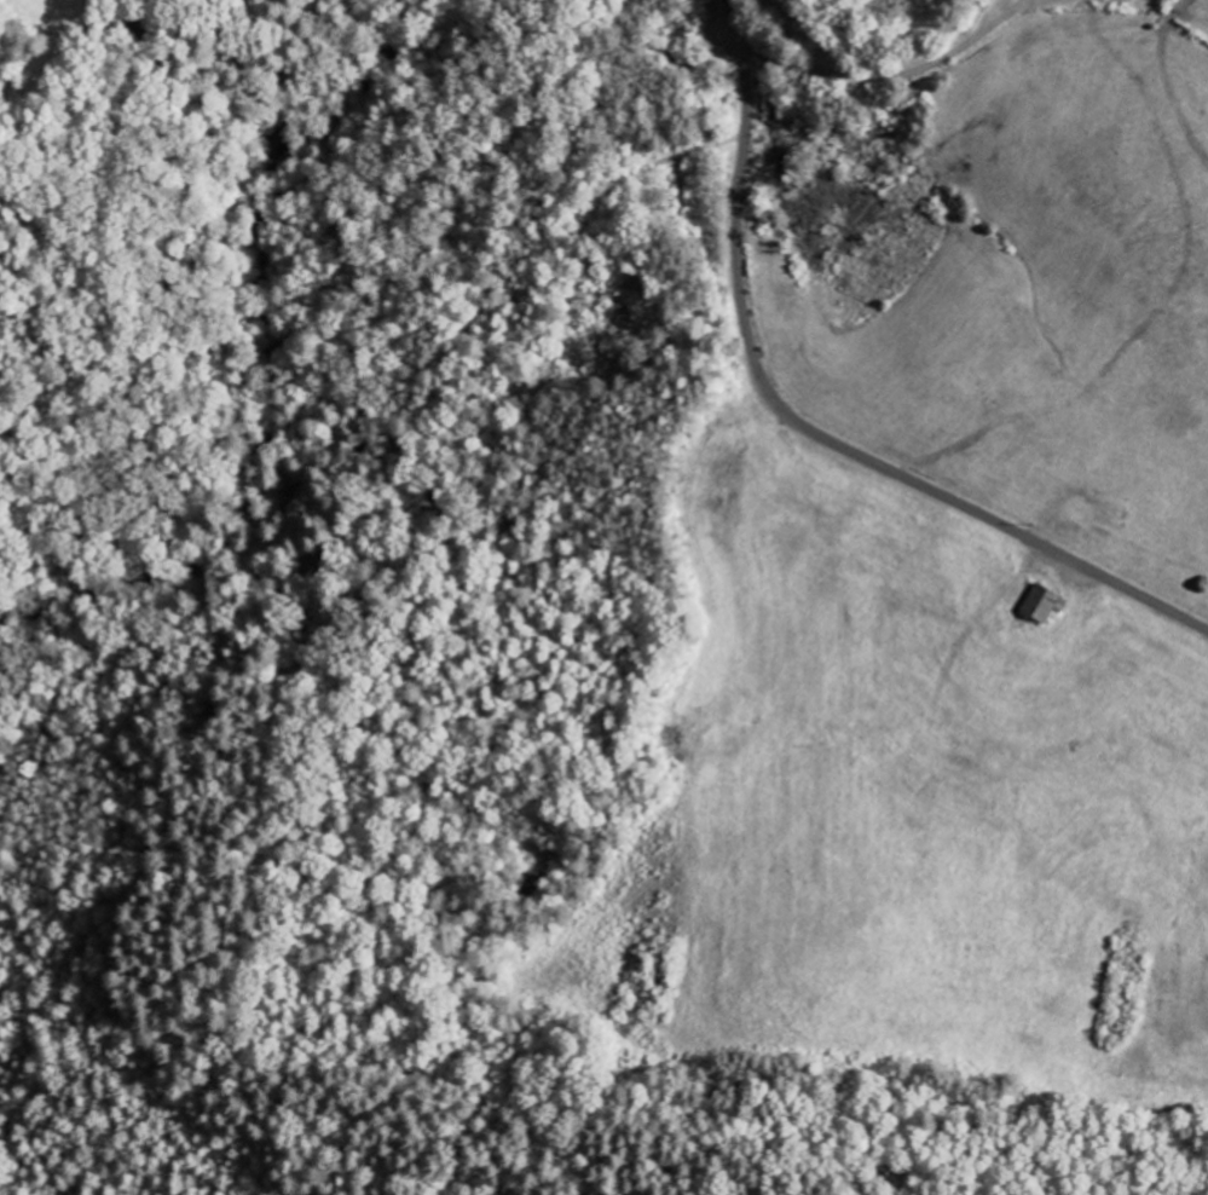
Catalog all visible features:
road: (892, 75)
road: (810, 418)
building: (1044, 605)

